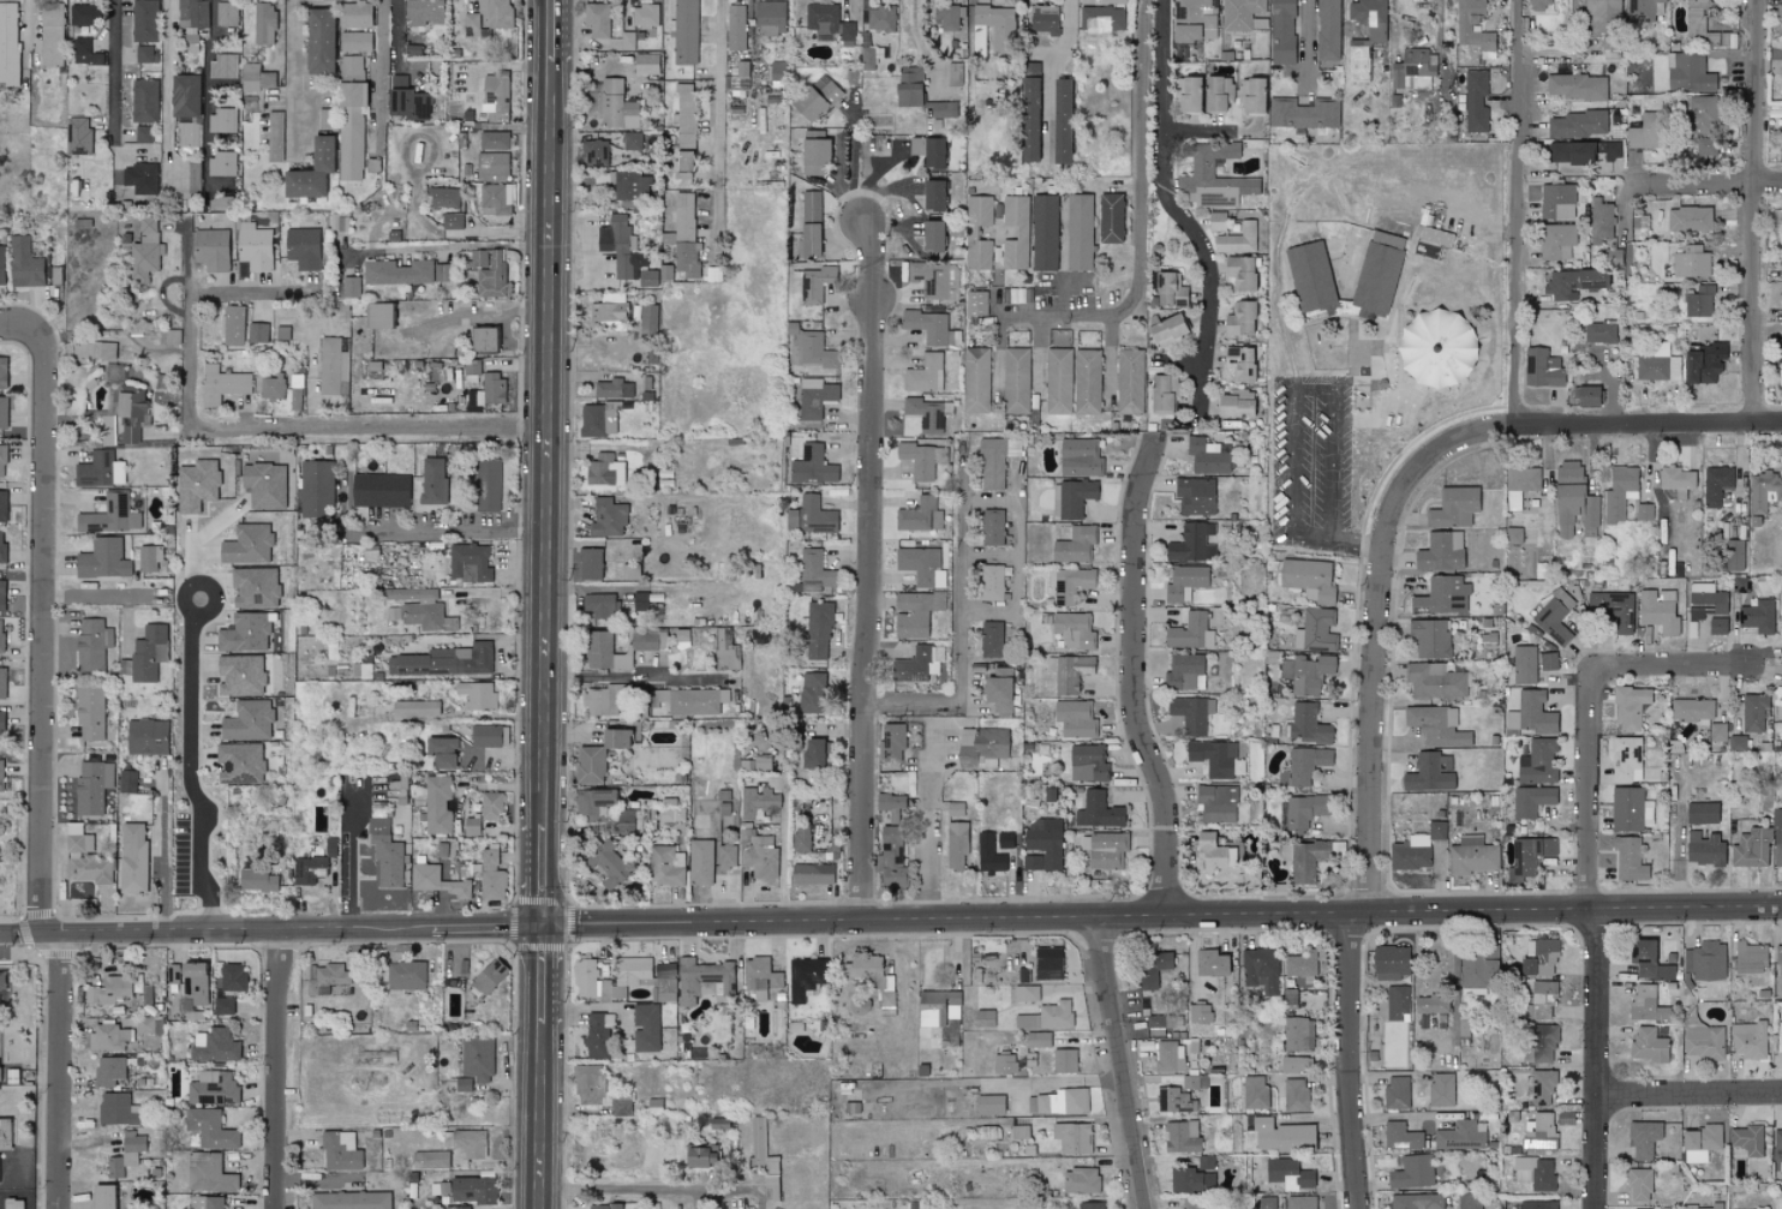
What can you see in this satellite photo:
building: (994, 4)
building: (1536, 5)
building: (1644, 11)
building: (1778, 11)
building: (423, 12)
building: (192, 13)
building: (1240, 13)
building: (1602, 13)
building: (82, 14)
building: (227, 14)
building: (353, 14)
building: (50, 16)
building: (645, 16)
building: (1102, 16)
building: (947, 17)
building: (489, 18)
building: (770, 18)
building: (596, 19)
building: (880, 19)
building: (1044, 19)
building: (1694, 19)
building: (144, 20)
building: (1195, 20)
building: (829, 22)
building: (263, 24)
building: (998, 26)
building: (735, 28)
building: (1464, 28)
building: (1327, 30)
road: (556, 31)
building: (684, 31)
building: (1281, 32)
road: (395, 34)
road: (917, 37)
building: (1717, 40)
building: (317, 42)
building: (354, 42)
building: (8, 43)
building: (1365, 43)
road: (1306, 46)
building: (85, 53)
building: (144, 54)
building: (872, 54)
building: (645, 64)
building: (223, 66)
building: (1412, 66)
building: (351, 68)
road: (1048, 71)
building: (1688, 73)
road: (116, 74)
building: (955, 74)
road: (292, 76)
road: (378, 77)
building: (256, 78)
building: (399, 80)
building: (908, 88)
building: (1577, 88)
road: (169, 91)
road: (207, 94)
building: (1216, 94)
building: (496, 95)
building: (1186, 95)
building: (183, 96)
building: (1250, 96)
building: (815, 98)
building: (144, 101)
building: (1476, 101)
building: (408, 104)
building: (611, 104)
road: (713, 112)
building: (1028, 113)
building: (1303, 114)
building: (686, 115)
building: (1698, 115)
building: (223, 120)
building: (1059, 121)
building: (1578, 125)
building: (349, 130)
road: (1198, 131)
building: (1644, 132)
building: (143, 134)
building: (189, 136)
building: (77, 137)
building: (274, 137)
building: (494, 140)
building: (632, 140)
building: (1705, 148)
building: (813, 151)
building: (919, 151)
building: (594, 152)
building: (1581, 152)
building: (222, 163)
building: (682, 164)
building: (491, 167)
building: (1201, 167)
road: (854, 169)
building: (310, 172)
road: (1219, 176)
building: (139, 178)
road: (1706, 184)
building: (628, 185)
building: (932, 196)
building: (443, 198)
building: (495, 199)
building: (1557, 202)
road: (1758, 209)
road: (1518, 213)
building: (683, 216)
road: (1182, 216)
building: (1110, 219)
building: (1688, 220)
building: (1776, 220)
building: (452, 221)
building: (1216, 221)
building: (1601, 221)
building: (809, 223)
road: (1141, 227)
building: (970, 233)
building: (1015, 233)
building: (1044, 233)
building: (1078, 233)
building: (931, 237)
building: (1237, 240)
building: (1556, 241)
building: (1430, 243)
building: (255, 247)
road: (450, 247)
building: (303, 249)
building: (211, 250)
building: (624, 252)
building: (142, 253)
road: (186, 255)
building: (687, 259)
building: (1691, 262)
building: (25, 264)
building: (2, 265)
building: (396, 273)
building: (443, 273)
building: (665, 273)
building: (1239, 273)
building: (1377, 273)
building: (489, 274)
building: (931, 277)
building: (1309, 277)
building: (815, 283)
building: (1572, 283)
building: (349, 287)
building: (1168, 291)
road: (250, 294)
building: (1018, 295)
building: (1697, 300)
building: (1781, 303)
building: (976, 304)
building: (609, 307)
building: (377, 316)
road: (490, 318)
building: (647, 319)
building: (1239, 319)
building: (233, 325)
building: (927, 327)
road: (16, 330)
building: (1168, 330)
building: (1601, 331)
building: (258, 333)
building: (173, 337)
building: (482, 340)
building: (812, 348)
building: (1435, 349)
building: (94, 351)
building: (1702, 363)
building: (1239, 364)
building: (1658, 364)
building: (333, 367)
building: (471, 367)
building: (1542, 369)
building: (113, 371)
building: (2, 372)
building: (925, 373)
building: (975, 381)
building: (1015, 381)
building: (1058, 381)
building: (1087, 382)
building: (1130, 382)
building: (222, 385)
building: (271, 387)
building: (492, 388)
building: (608, 388)
road: (1291, 391)
building: (1164, 394)
building: (1586, 396)
building: (815, 397)
building: (1234, 403)
building: (4, 412)
building: (926, 413)
building: (131, 414)
building: (599, 419)
road: (1373, 419)
road: (1649, 423)
building: (108, 430)
road: (305, 436)
road: (551, 444)
building: (1207, 456)
building: (1080, 457)
building: (922, 459)
building: (2, 460)
building: (995, 461)
building: (812, 466)
building: (101, 469)
building: (604, 469)
building: (1568, 471)
building: (1678, 477)
building: (1521, 478)
building: (432, 480)
building: (196, 484)
building: (264, 484)
building: (488, 484)
building: (1716, 484)
building: (317, 489)
building: (379, 490)
building: (1764, 490)
building: (1619, 491)
building: (1195, 495)
building: (1071, 497)
building: (2, 505)
building: (1453, 507)
building: (1567, 507)
building: (1590, 510)
building: (1644, 511)
building: (110, 515)
building: (814, 515)
building: (920, 515)
building: (608, 517)
road: (450, 526)
building: (992, 527)
building: (1513, 534)
building: (1190, 541)
building: (1, 544)
building: (247, 544)
road: (1358, 544)
building: (1075, 545)
building: (1440, 551)
road: (1018, 552)
building: (1734, 555)
road: (989, 556)
building: (148, 557)
building: (102, 558)
building: (468, 562)
building: (591, 563)
building: (921, 565)
building: (813, 567)
building: (629, 573)
road: (872, 573)
building: (1308, 577)
building: (991, 582)
building: (1185, 582)
building: (1069, 583)
building: (1741, 585)
building: (255, 586)
road: (650, 589)
building: (1, 594)
building: (1442, 594)
road: (104, 597)
building: (640, 599)
building: (1705, 600)
building: (600, 605)
building: (1613, 609)
building: (1658, 610)
building: (914, 612)
building: (1554, 615)
building: (1757, 615)
building: (426, 616)
road: (962, 626)
building: (1717, 626)
road: (1380, 628)
building: (1074, 629)
building: (818, 630)
building: (1315, 630)
building: (1190, 632)
road: (37, 633)
building: (244, 633)
building: (1, 634)
building: (1430, 636)
building: (991, 639)
building: (642, 641)
building: (92, 642)
building: (726, 651)
building: (149, 652)
building: (443, 660)
building: (1548, 660)
building: (917, 664)
building: (1524, 664)
road: (1672, 669)
building: (1184, 671)
building: (1069, 672)
building: (1306, 672)
building: (240, 675)
road: (633, 677)
road: (1137, 681)
building: (1434, 681)
building: (2, 682)
building: (811, 692)
building: (998, 692)
building: (477, 695)
building: (600, 700)
building: (689, 700)
building: (1781, 700)
building: (1629, 706)
building: (414, 707)
building: (1607, 707)
building: (1691, 710)
building: (1191, 712)
building: (90, 713)
building: (1531, 713)
building: (1753, 713)
building: (1072, 719)
building: (247, 720)
building: (1306, 724)
building: (1436, 725)
building: (0, 726)
building: (1717, 731)
building: (489, 735)
building: (146, 736)
building: (893, 741)
building: (980, 744)
building: (441, 750)
building: (811, 754)
road: (507, 755)
building: (598, 755)
building: (1627, 759)
building: (240, 761)
building: (1537, 761)
building: (1087, 762)
building: (755, 764)
building: (1305, 764)
road: (189, 767)
building: (1429, 772)
building: (0, 774)
building: (127, 780)
building: (397, 783)
building: (92, 785)
road: (1587, 790)
building: (395, 794)
building: (1531, 801)
building: (890, 802)
building: (1218, 802)
building: (437, 804)
building: (592, 804)
building: (760, 804)
building: (491, 806)
building: (1628, 808)
building: (671, 810)
building: (1098, 810)
building: (1303, 812)
building: (1702, 813)
road: (929, 820)
building: (626, 821)
building: (471, 826)
building: (801, 837)
building: (1777, 838)
building: (1004, 840)
building: (956, 844)
building: (1042, 844)
building: (1751, 848)
building: (1703, 849)
building: (1105, 850)
building: (1214, 852)
building: (1411, 852)
building: (759, 854)
building: (987, 854)
building: (1472, 856)
building: (1527, 856)
building: (132, 857)
road: (354, 857)
building: (726, 857)
building: (891, 857)
building: (1628, 858)
building: (1303, 860)
building: (85, 861)
building: (700, 862)
building: (608, 864)
building: (665, 866)
building: (307, 869)
building: (812, 873)
building: (491, 876)
road: (546, 876)
building: (256, 880)
building: (438, 881)
road: (1684, 904)
road: (1479, 905)
road: (1362, 906)
road: (947, 915)
road: (306, 930)
road: (18, 934)
road: (52, 934)
building: (1777, 952)
building: (1642, 956)
building: (1538, 957)
building: (1750, 957)
building: (1704, 960)
building: (1391, 962)
building: (1210, 963)
building: (1302, 964)
building: (1477, 964)
building: (1152, 968)
building: (632, 970)
building: (1261, 970)
building: (1777, 971)
building: (405, 975)
building: (232, 976)
building: (488, 976)
road: (545, 976)
building: (806, 976)
building: (869, 976)
building: (324, 977)
building: (590, 978)
building: (761, 978)
building: (702, 980)
building: (189, 982)
building: (2, 986)
building: (664, 986)
building: (109, 990)
building: (1025, 993)
building: (1541, 1000)
building: (1645, 1002)
building: (1398, 1004)
building: (1430, 1004)
building: (223, 1006)
building: (938, 1007)
building: (1200, 1013)
building: (1047, 1016)
building: (985, 1018)
building: (1155, 1025)
building: (645, 1028)
building: (598, 1034)
building: (1299, 1034)
building: (109, 1037)
building: (1780, 1037)
building: (1037, 1040)
building: (1748, 1040)
building: (1704, 1042)
building: (1542, 1043)
building: (214, 1045)
building: (1646, 1045)
road: (1596, 1055)
building: (1168, 1057)
building: (477, 1058)
road: (1351, 1058)
building: (1064, 1060)
road: (1116, 1060)
building: (1004, 1064)
building: (1288, 1064)
building: (109, 1070)
road: (279, 1070)
road: (65, 1071)
building: (1190, 1082)
building: (588, 1085)
building: (1539, 1087)
building: (213, 1089)
building: (1441, 1089)
building: (1254, 1093)
building: (1397, 1093)
road: (1690, 1094)
building: (1294, 1095)
building: (1173, 1100)
building: (1057, 1101)
building: (620, 1105)
building: (989, 1105)
building: (653, 1106)
building: (118, 1109)
road: (542, 1117)
road: (1407, 1117)
building: (210, 1129)
building: (986, 1132)
building: (1538, 1132)
building: (6, 1133)
building: (1180, 1136)
building: (1281, 1136)
building: (1400, 1136)
building: (1460, 1136)
building: (1071, 1137)
building: (1643, 1138)
building: (1747, 1139)
building: (466, 1143)
building: (1699, 1143)
building: (1777, 1144)
building: (760, 1147)
building: (339, 1150)
building: (126, 1153)
building: (700, 1156)
building: (429, 1160)
building: (0, 1169)
building: (1412, 1172)
building: (209, 1173)
building: (1287, 1173)
building: (1535, 1173)
building: (1194, 1177)
building: (1080, 1180)
building: (1639, 1185)
building: (472, 1190)
building: (101, 1196)
road: (647, 1198)
building: (1776, 1199)
building: (349, 1201)
building: (1416, 1201)
building: (1469, 1201)
building: (205, 1202)
building: (1267, 1202)
building: (1300, 1202)
building: (13, 1203)
building: (1191, 1203)
building: (1537, 1204)
building: (1089, 1205)
building: (455, 1207)
building: (597, 1207)
building: (1705, 1207)

